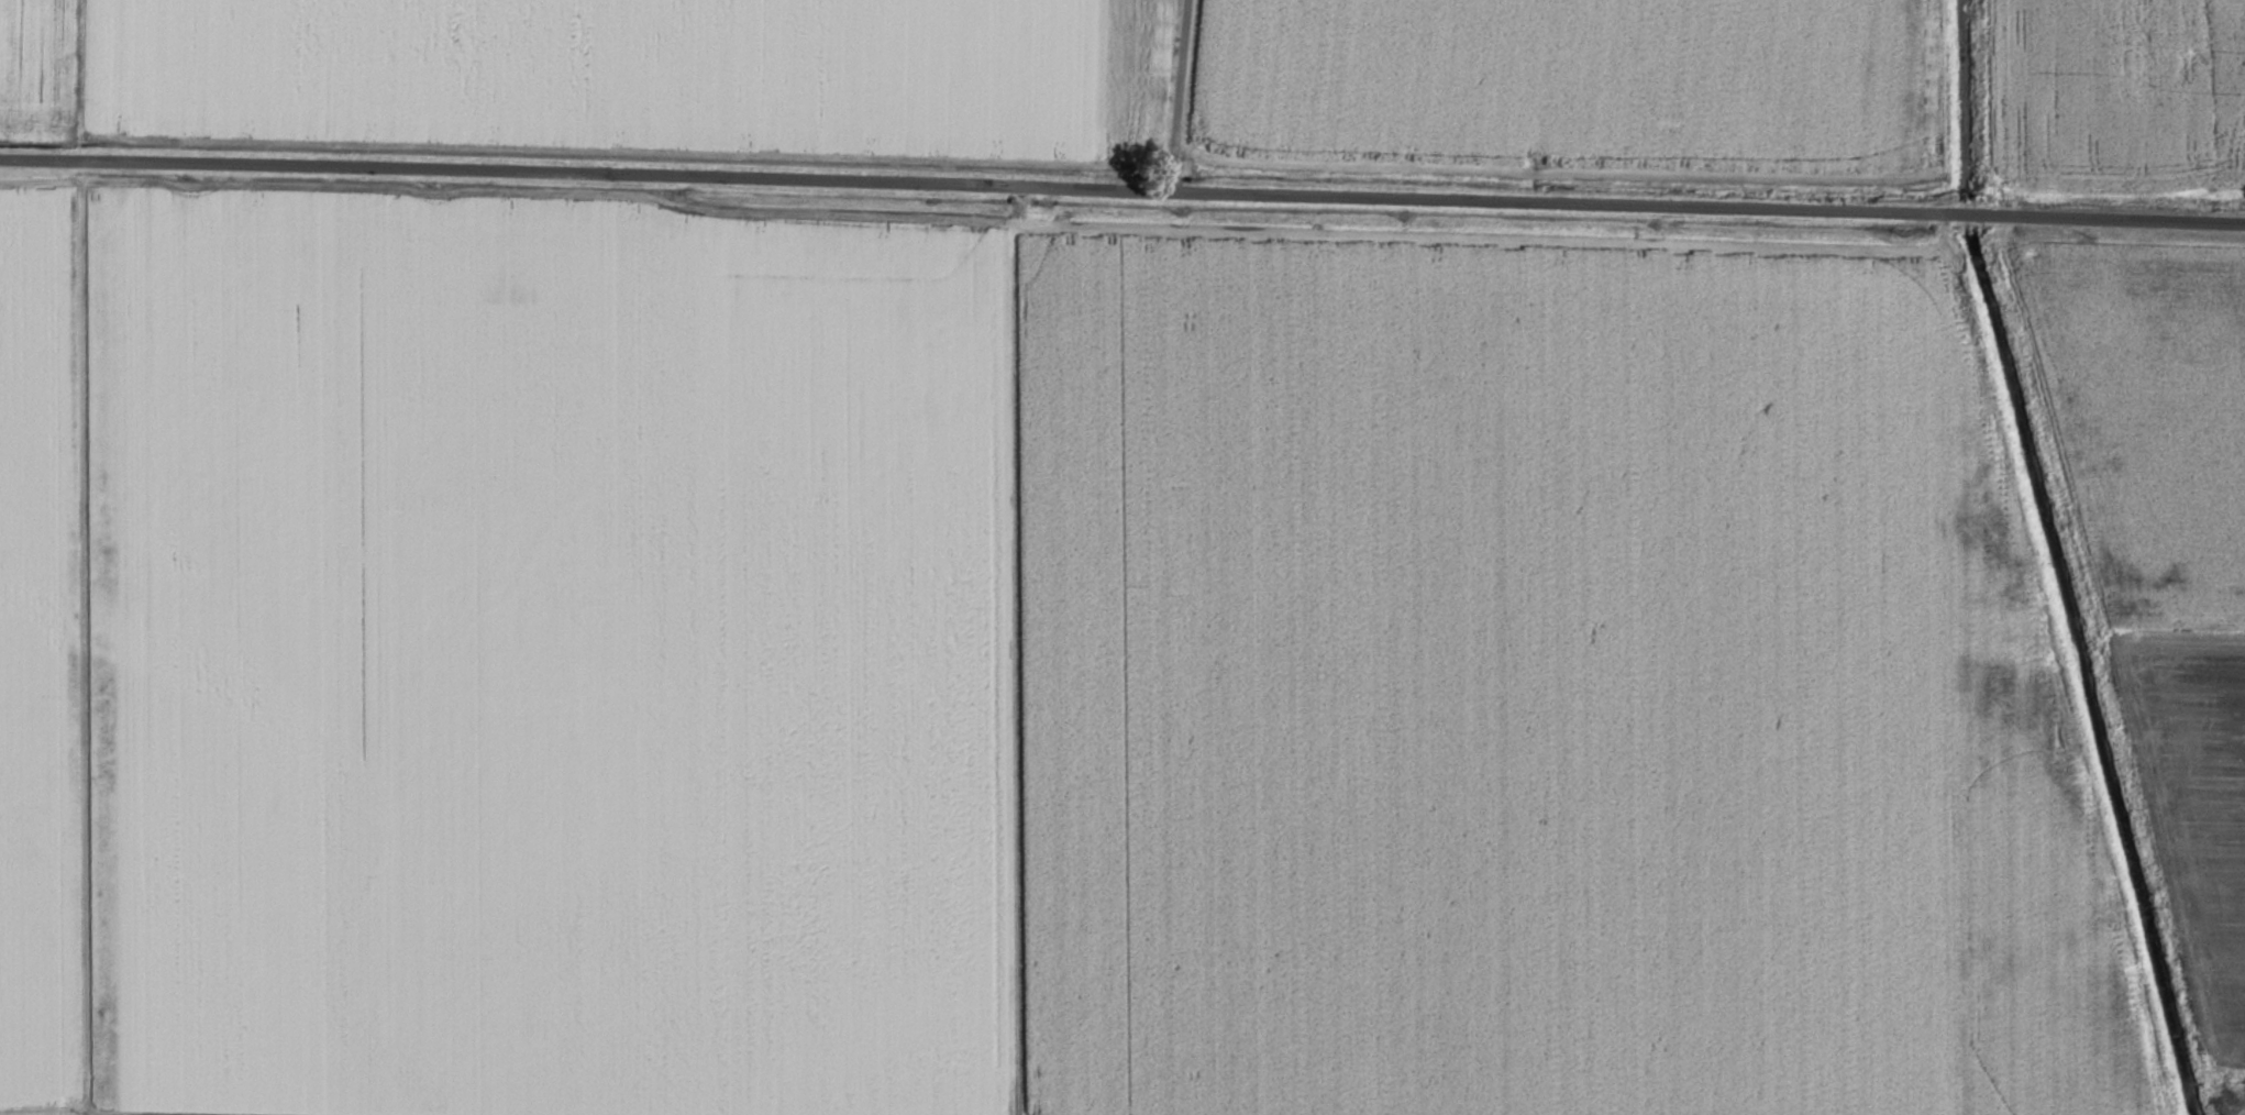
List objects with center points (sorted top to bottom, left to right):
road: (1184, 97)
road: (1122, 192)

